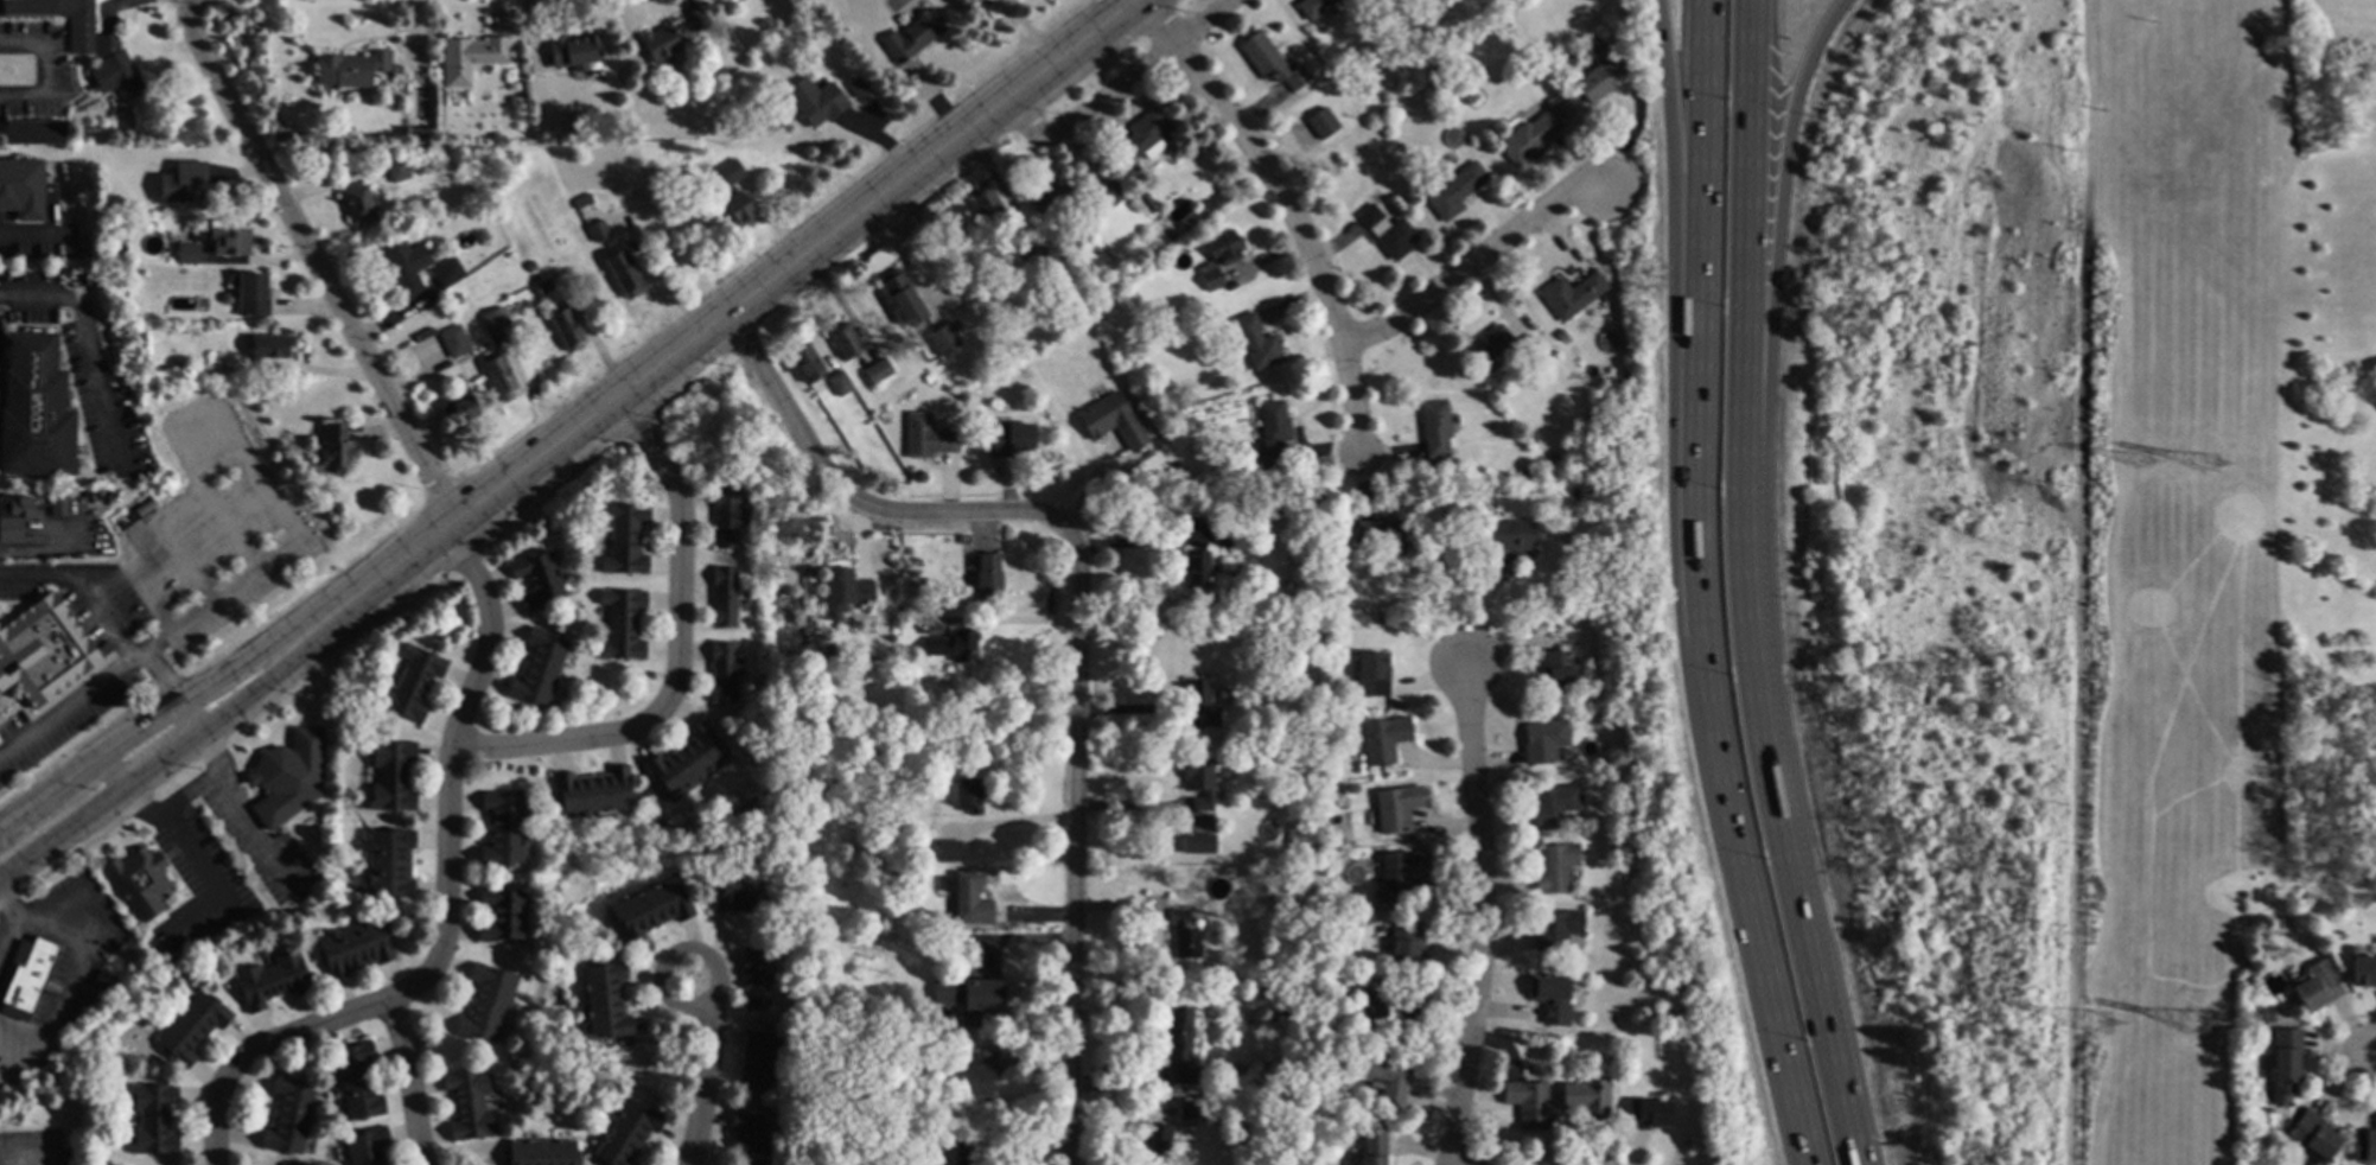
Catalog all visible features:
building: (718, 0)
building: (1313, 7)
building: (696, 21)
building: (1429, 36)
building: (81, 37)
building: (912, 37)
building: (661, 45)
building: (574, 52)
building: (471, 58)
building: (1272, 63)
building: (114, 70)
building: (351, 70)
building: (522, 70)
building: (1603, 77)
road: (1116, 87)
building: (855, 88)
building: (523, 90)
building: (815, 102)
building: (730, 121)
building: (1323, 125)
building: (273, 128)
building: (33, 133)
building: (1146, 135)
building: (1533, 136)
building: (1473, 149)
road: (1676, 164)
building: (703, 166)
building: (733, 167)
building: (397, 170)
building: (184, 184)
building: (21, 189)
building: (1455, 192)
building: (1046, 193)
building: (1113, 193)
building: (581, 202)
building: (1146, 202)
building: (985, 203)
building: (358, 205)
road: (1289, 206)
building: (592, 210)
building: (739, 212)
road: (1776, 222)
road: (1750, 229)
building: (598, 233)
building: (1388, 233)
building: (232, 242)
building: (121, 253)
building: (1221, 257)
building: (191, 259)
road: (311, 259)
building: (1039, 261)
road: (1471, 261)
building: (401, 266)
building: (530, 267)
building: (447, 274)
building: (625, 275)
building: (894, 287)
building: (542, 288)
building: (253, 295)
building: (1573, 295)
building: (454, 300)
road: (733, 306)
building: (129, 313)
building: (495, 320)
building: (566, 330)
building: (428, 335)
building: (1560, 337)
building: (943, 339)
building: (843, 342)
building: (1256, 343)
building: (456, 345)
building: (1490, 345)
building: (270, 346)
building: (1528, 349)
road: (90, 350)
building: (804, 363)
building: (221, 364)
building: (877, 373)
building: (499, 378)
building: (926, 378)
building: (839, 384)
building: (1471, 400)
building: (34, 409)
building: (458, 409)
building: (1111, 421)
building: (1435, 429)
building: (1272, 435)
building: (928, 438)
building: (1009, 440)
building: (336, 448)
building: (1550, 458)
power tower: (2213, 463)
power tower: (2147, 467)
building: (1528, 472)
building: (1574, 495)
park: (2334, 495)
building: (58, 508)
building: (14, 518)
building: (725, 518)
building: (1387, 535)
building: (1222, 536)
building: (624, 539)
building: (1503, 542)
road: (1138, 546)
building: (1200, 569)
building: (536, 581)
road: (2077, 581)
building: (988, 584)
building: (1287, 585)
road: (1695, 587)
building: (845, 591)
building: (724, 598)
building: (804, 620)
road: (1075, 620)
building: (622, 625)
road: (112, 626)
building: (953, 648)
building: (42, 650)
building: (830, 651)
road: (676, 654)
building: (539, 669)
building: (724, 673)
building: (1560, 673)
building: (650, 675)
building: (1372, 675)
building: (412, 685)
building: (1202, 704)
road: (72, 707)
road: (163, 715)
building: (845, 726)
building: (1269, 732)
building: (1383, 741)
building: (1543, 743)
road: (171, 751)
building: (684, 762)
building: (390, 777)
building: (288, 778)
road: (204, 779)
building: (1199, 782)
road: (1781, 782)
road: (127, 788)
building: (592, 792)
building: (969, 797)
building: (1554, 807)
building: (1397, 808)
road: (13, 816)
building: (1324, 819)
building: (502, 829)
building: (1197, 843)
building: (1633, 845)
building: (944, 851)
building: (389, 865)
building: (1555, 868)
building: (1401, 874)
building: (140, 883)
building: (913, 883)
building: (735, 893)
building: (969, 899)
road: (444, 903)
building: (1317, 904)
building: (650, 910)
building: (499, 916)
road: (1482, 916)
road: (13, 918)
building: (1556, 930)
building: (1184, 936)
building: (936, 940)
building: (1407, 946)
building: (353, 949)
road: (670, 955)
building: (1649, 960)
building: (2363, 970)
building: (2250, 974)
building: (28, 979)
building: (272, 981)
building: (756, 981)
building: (103, 982)
building: (2316, 989)
building: (606, 1000)
building: (970, 1000)
building: (1553, 1000)
building: (486, 1005)
building: (1281, 1007)
building: (1382, 1011)
building: (2267, 1016)
power tower: (2100, 1025)
power tower: (2197, 1027)
building: (191, 1030)
building: (421, 1040)
building: (1179, 1046)
road: (2374, 1055)
road: (2321, 1056)
building: (756, 1062)
building: (1613, 1062)
building: (2285, 1065)
building: (980, 1072)
building: (1382, 1074)
road: (409, 1080)
building: (357, 1082)
road: (702, 1088)
building: (1588, 1099)
building: (1345, 1102)
building: (1528, 1103)
building: (469, 1106)
building: (1184, 1112)
building: (1649, 1115)
building: (289, 1116)
building: (153, 1120)
road: (1865, 1133)
building: (629, 1134)
building: (751, 1134)
building: (2312, 1137)
building: (1158, 1142)
building: (873, 1144)
building: (2365, 1145)
building: (367, 1147)
building: (1374, 1147)
building: (969, 1151)
building: (542, 1153)
road: (27, 1157)

